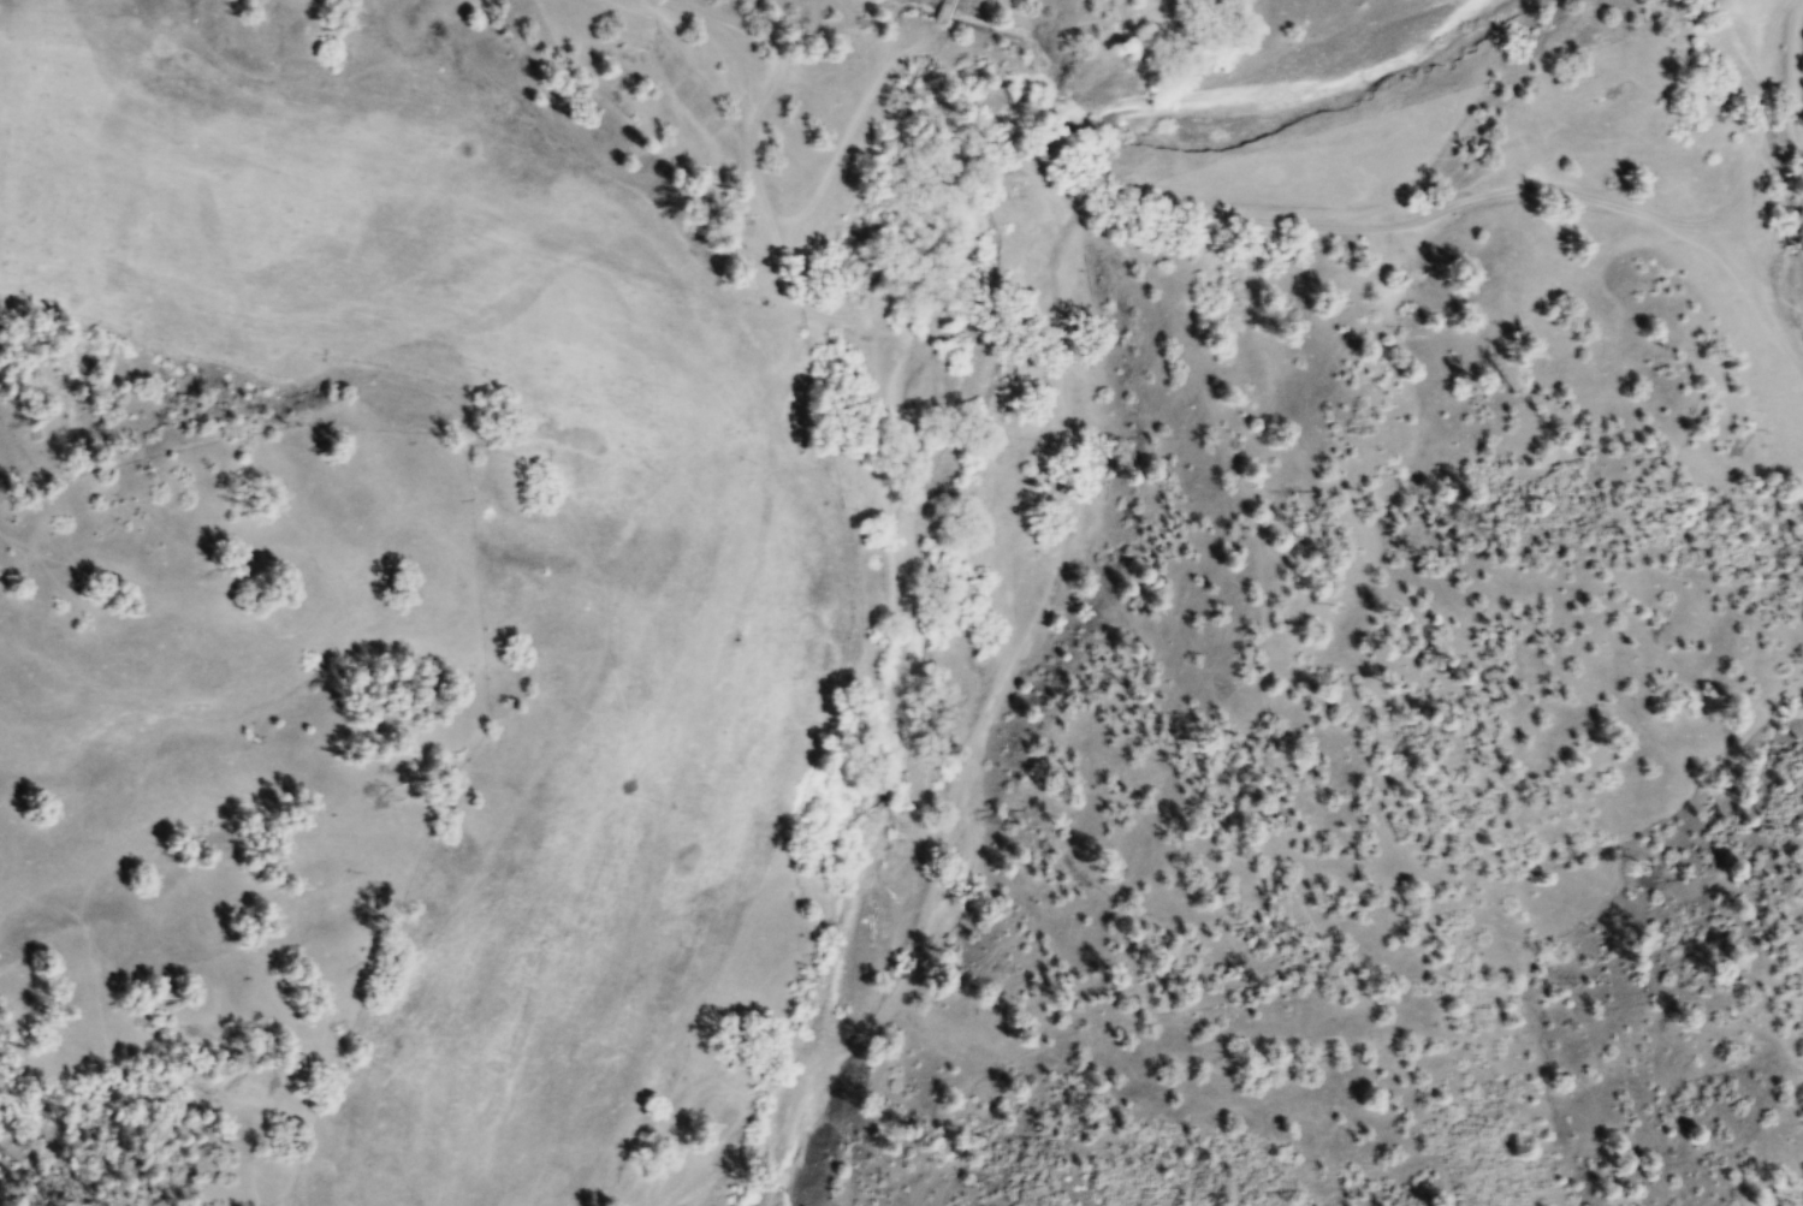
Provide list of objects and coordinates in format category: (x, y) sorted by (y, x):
river: (960, 411)

